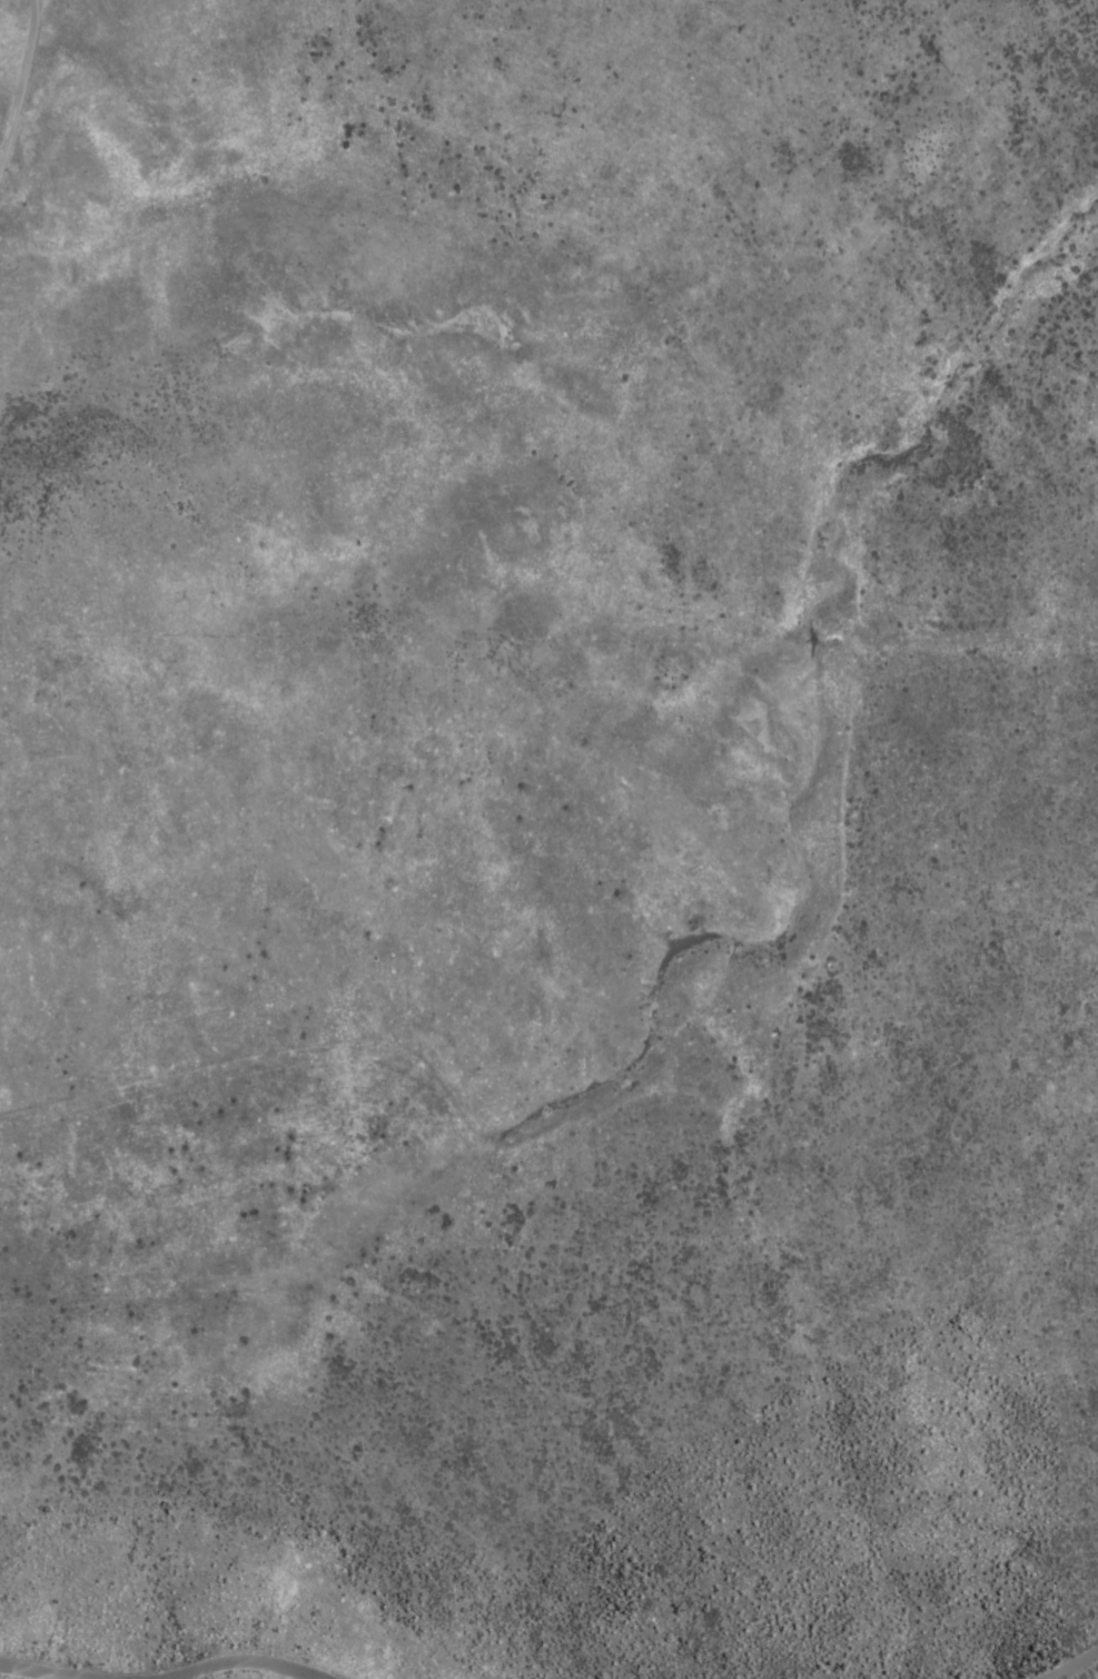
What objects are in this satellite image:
road: (28, 87)
road: (244, 1666)
road: (1078, 1669)
road: (48, 1672)

